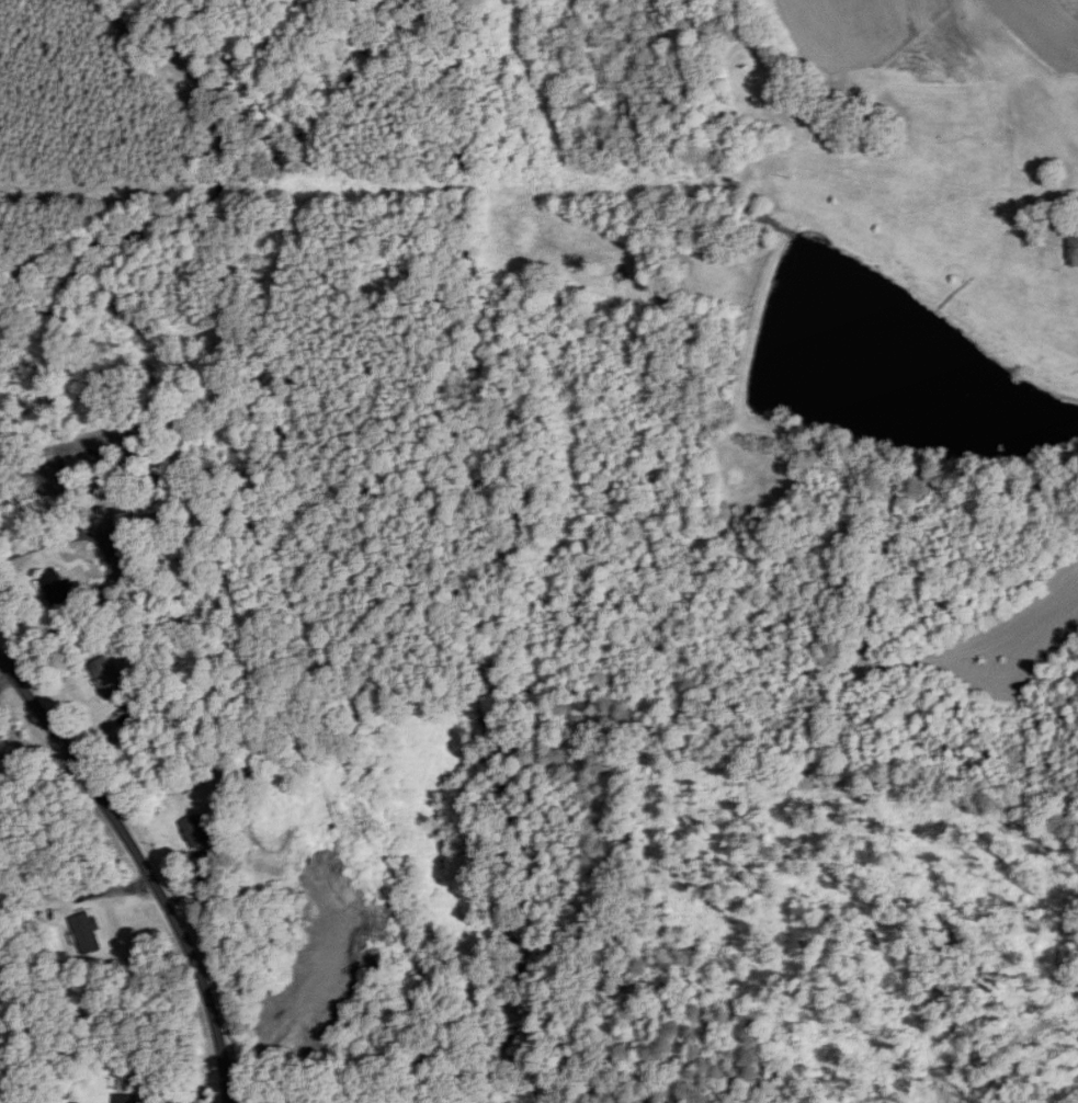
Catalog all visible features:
building: (1074, 250)
building: (83, 467)
road: (135, 469)
building: (56, 587)
building: (107, 676)
building: (195, 830)
road: (145, 865)
building: (89, 932)
building: (127, 1099)

